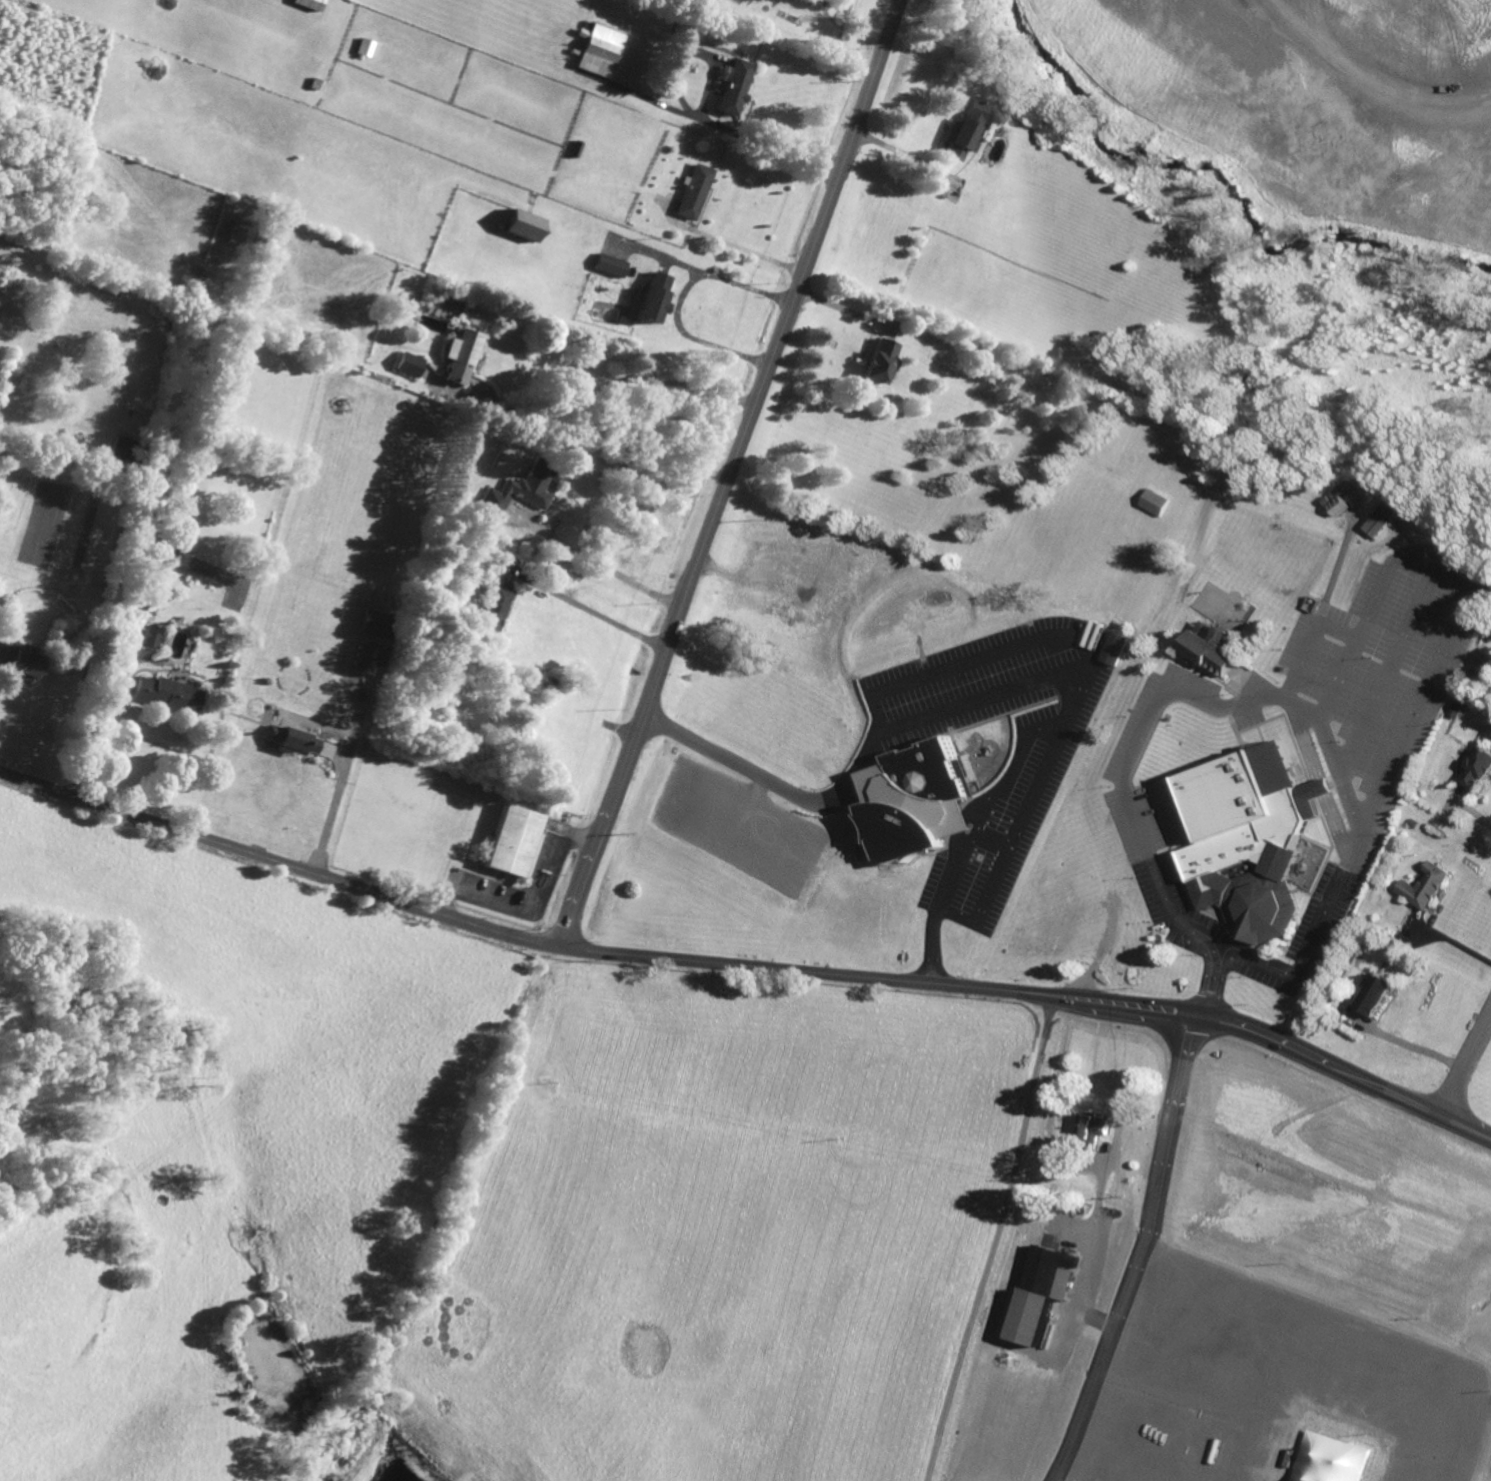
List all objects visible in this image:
building: (366, 47)
building: (602, 50)
road: (1360, 78)
building: (735, 86)
road: (695, 111)
building: (963, 130)
building: (577, 148)
road: (898, 151)
building: (1481, 184)
building: (695, 191)
building: (526, 225)
road: (726, 243)
building: (613, 265)
building: (653, 305)
road: (843, 310)
building: (463, 356)
road: (771, 356)
building: (879, 360)
building: (412, 364)
road: (621, 385)
building: (122, 449)
building: (1340, 490)
building: (520, 491)
building: (1380, 519)
road: (1333, 562)
road: (611, 570)
road: (1381, 574)
road: (1412, 607)
building: (496, 610)
road: (594, 613)
building: (376, 624)
building: (153, 636)
building: (1111, 648)
building: (1208, 648)
building: (365, 657)
building: (20, 660)
road: (976, 662)
road: (1425, 670)
building: (169, 694)
road: (1299, 708)
road: (925, 717)
road: (321, 725)
road: (94, 735)
building: (292, 740)
road: (1018, 758)
road: (1347, 764)
building: (1474, 769)
road: (342, 778)
building: (913, 802)
road: (1470, 816)
road: (979, 818)
road: (601, 830)
building: (1247, 839)
building: (512, 840)
road: (956, 857)
building: (1421, 886)
road: (988, 889)
road: (1164, 896)
road: (535, 907)
road: (953, 920)
road: (929, 948)
road: (746, 967)
road: (1211, 982)
building: (1374, 994)
road: (1413, 1046)
road: (1466, 1066)
building: (1092, 1127)
road: (993, 1239)
road: (1132, 1249)
building: (1041, 1292)

